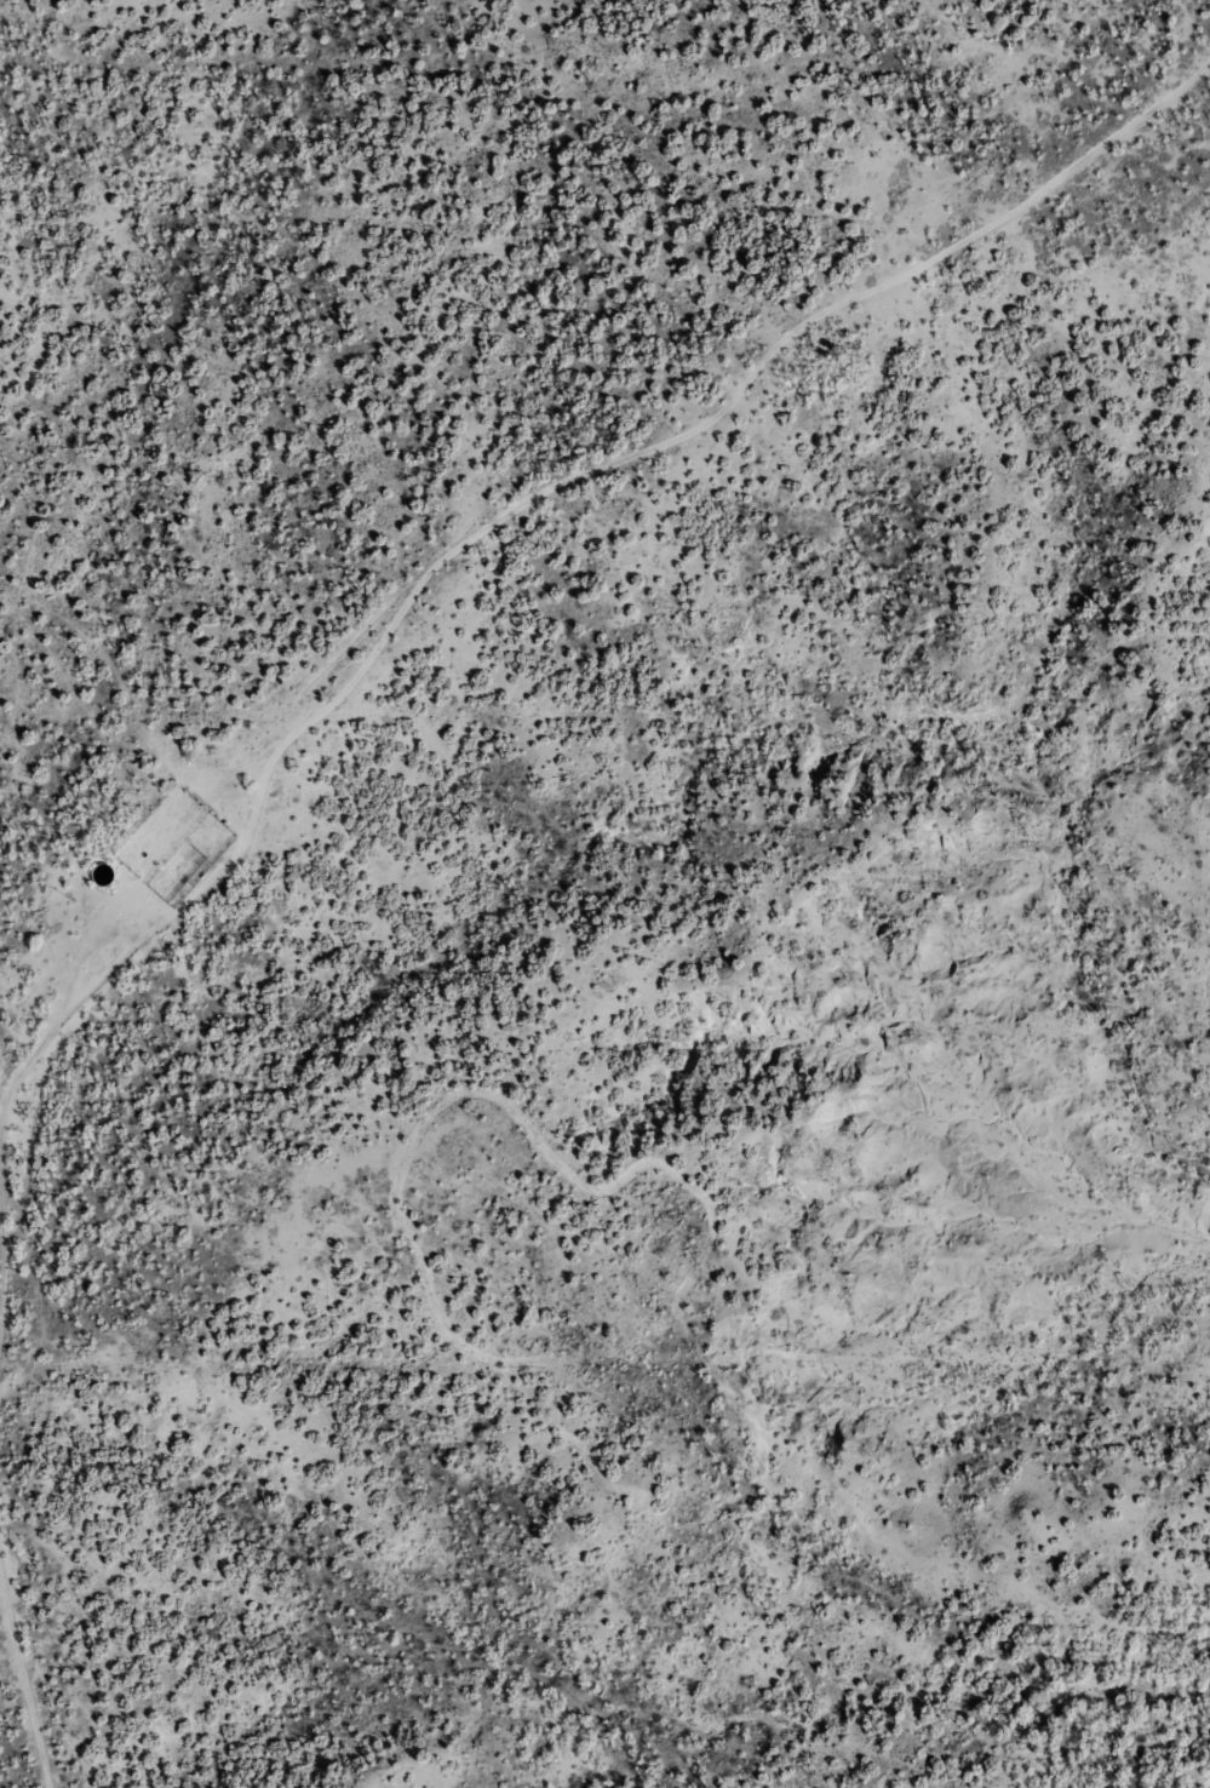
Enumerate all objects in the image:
road: (361, 803)

